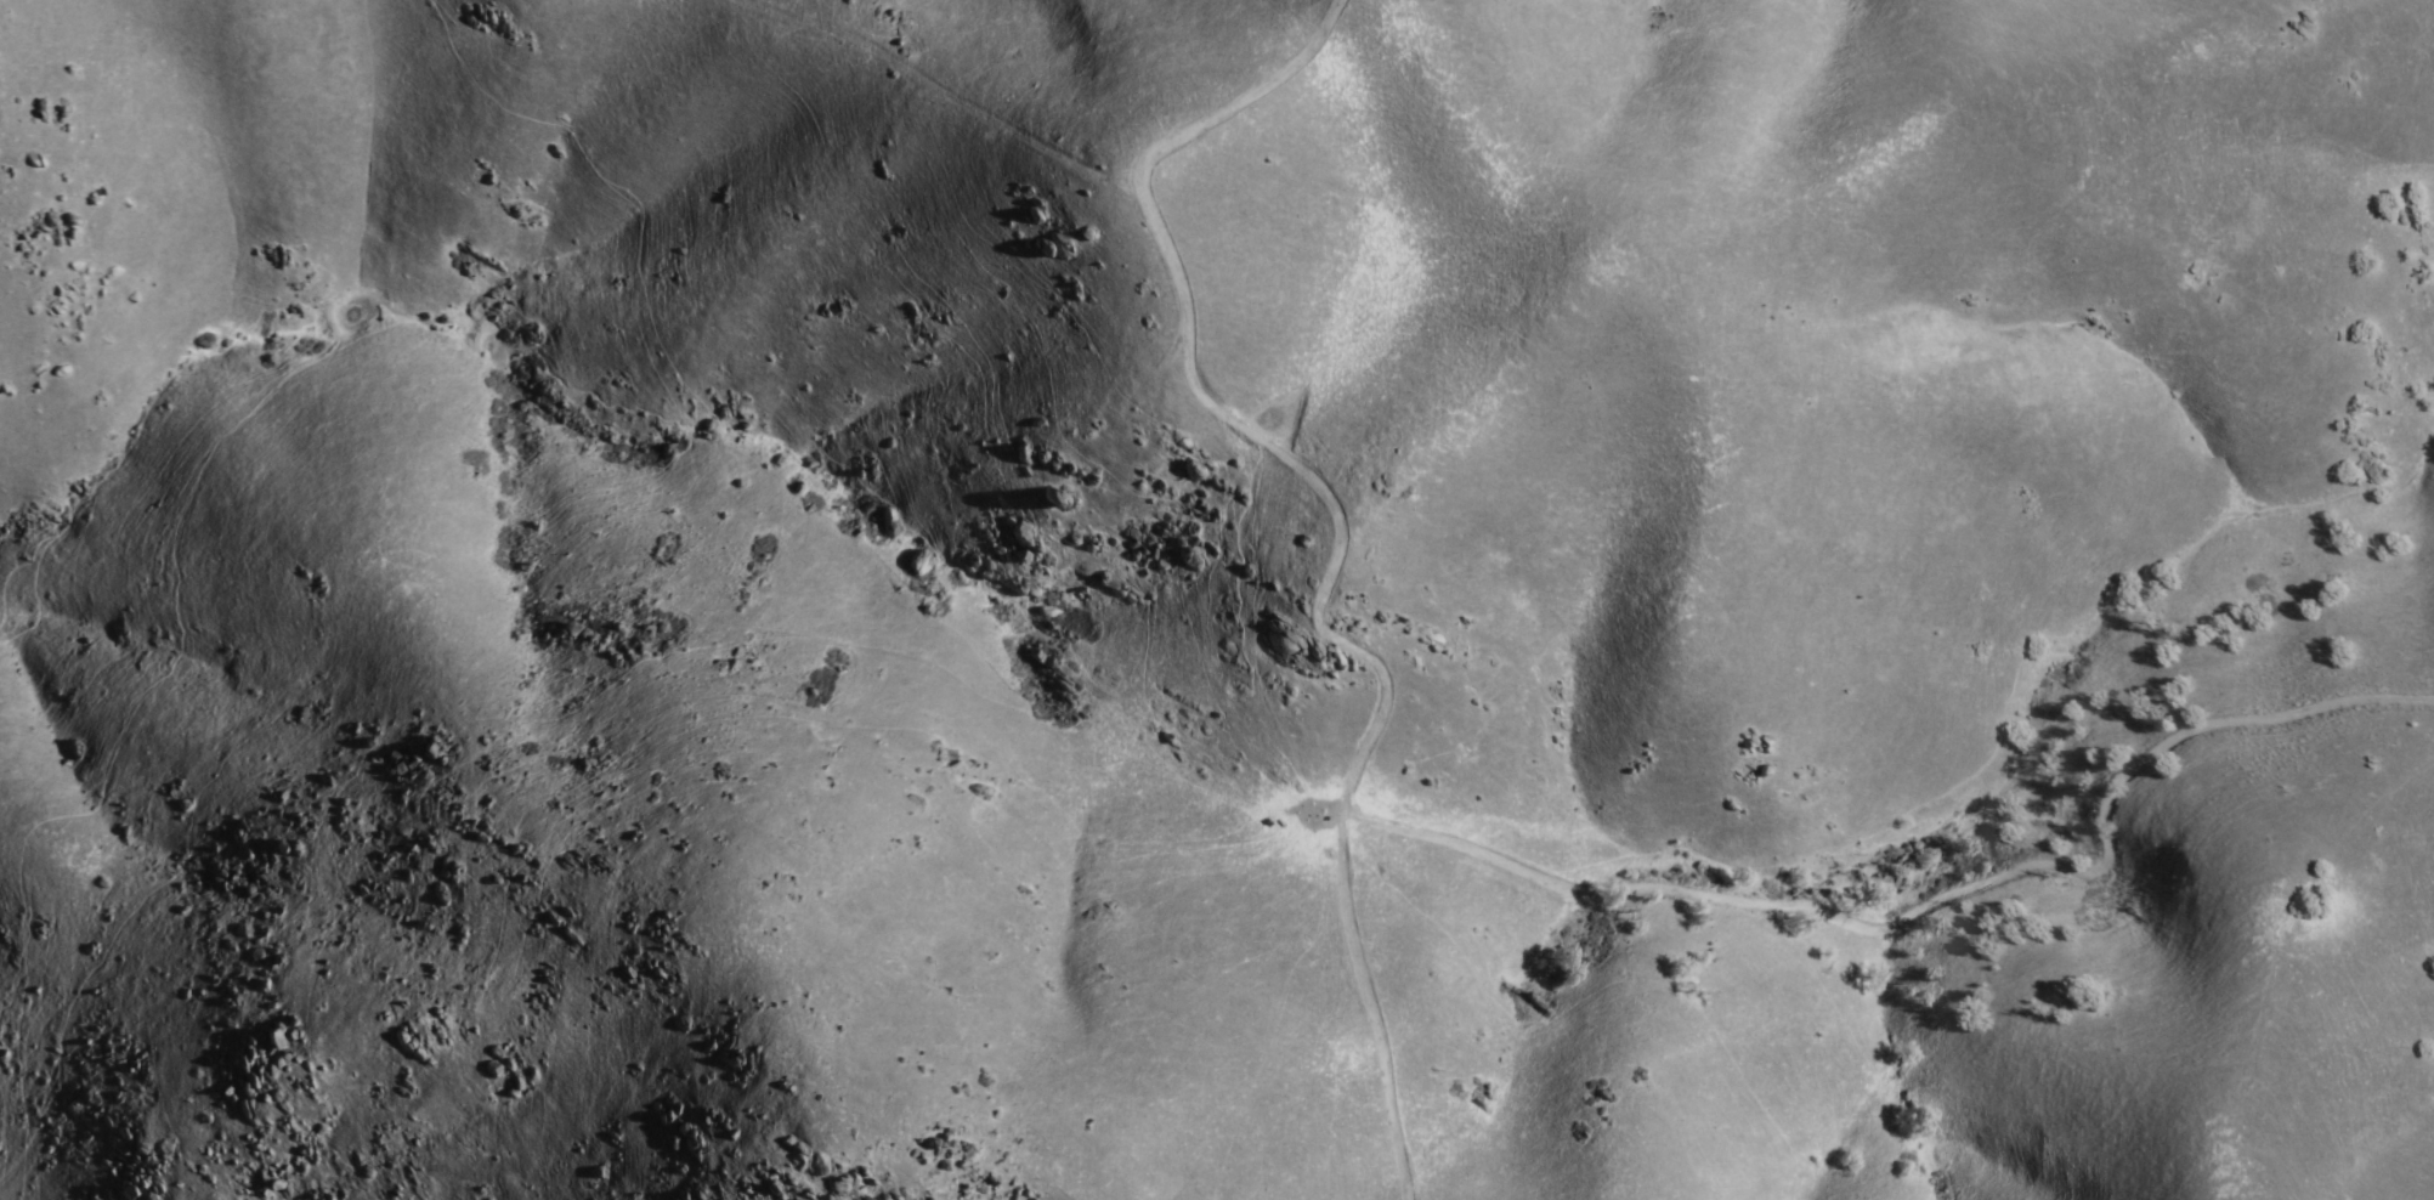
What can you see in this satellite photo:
building: (1191, 474)
building: (1055, 503)
building: (919, 567)

